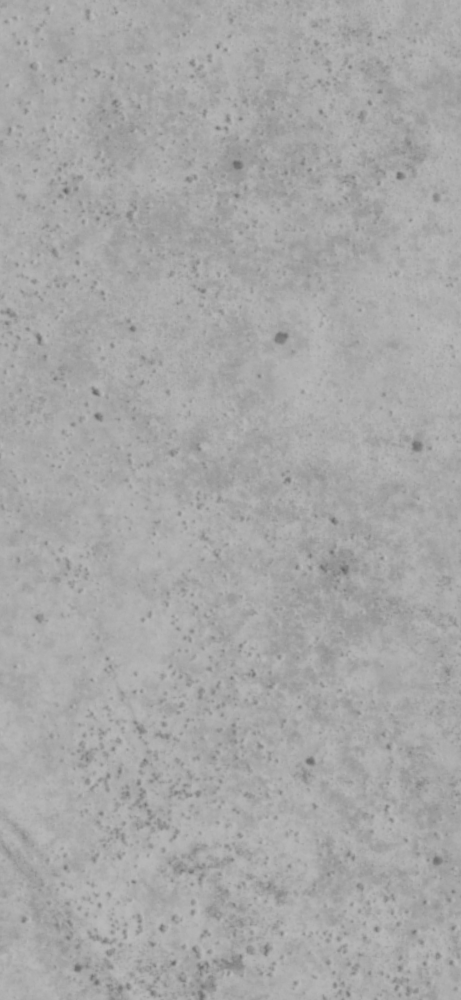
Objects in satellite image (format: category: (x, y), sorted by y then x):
road: (42, 942)

